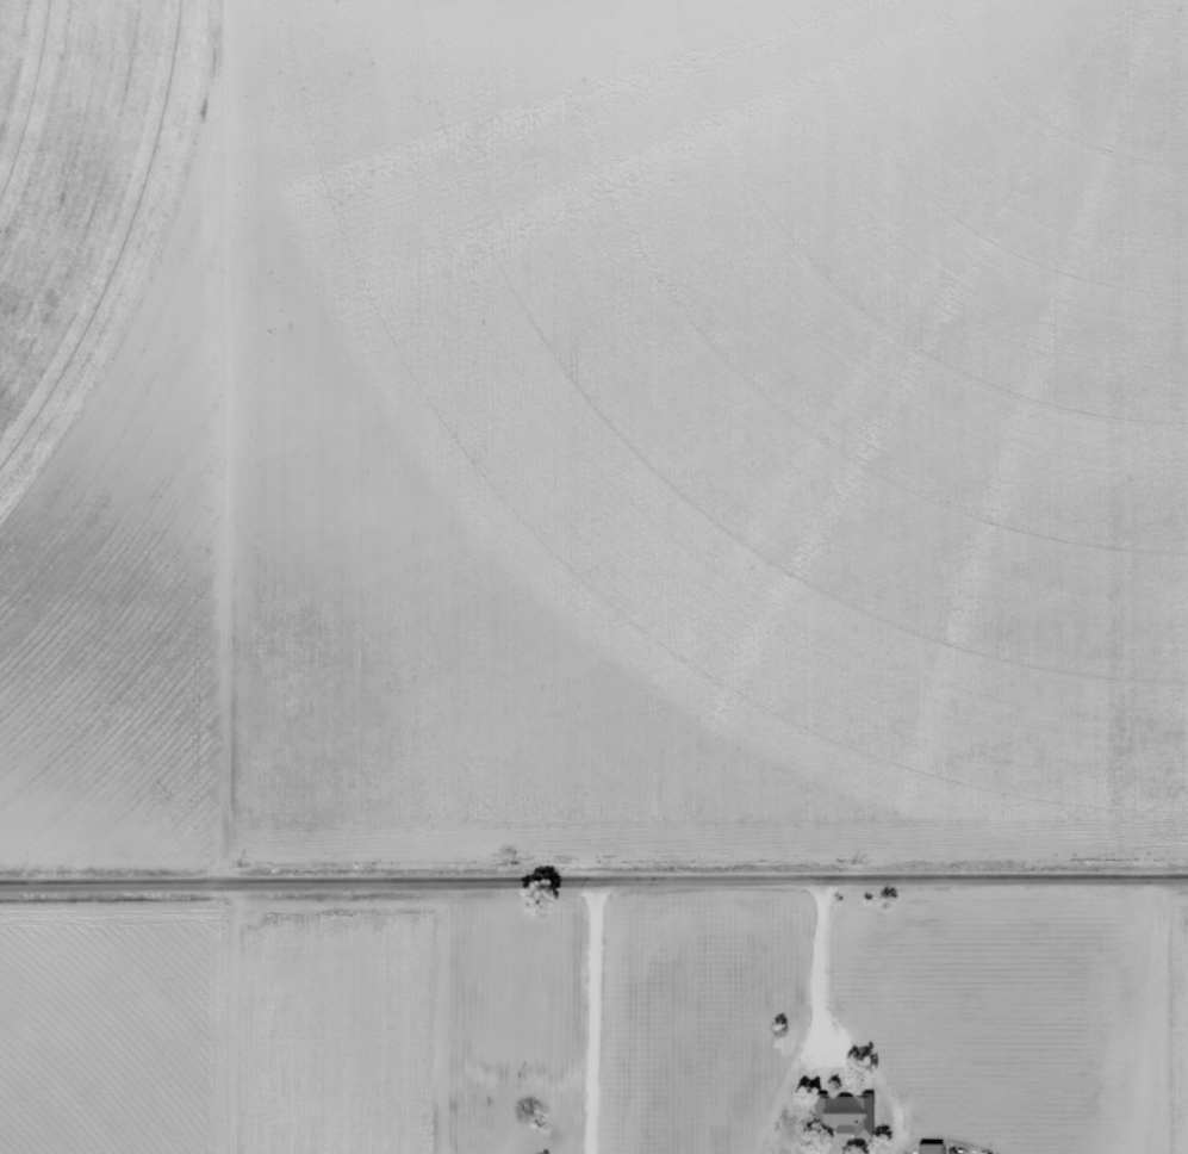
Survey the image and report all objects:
road: (593, 883)
road: (811, 974)
road: (587, 1019)

